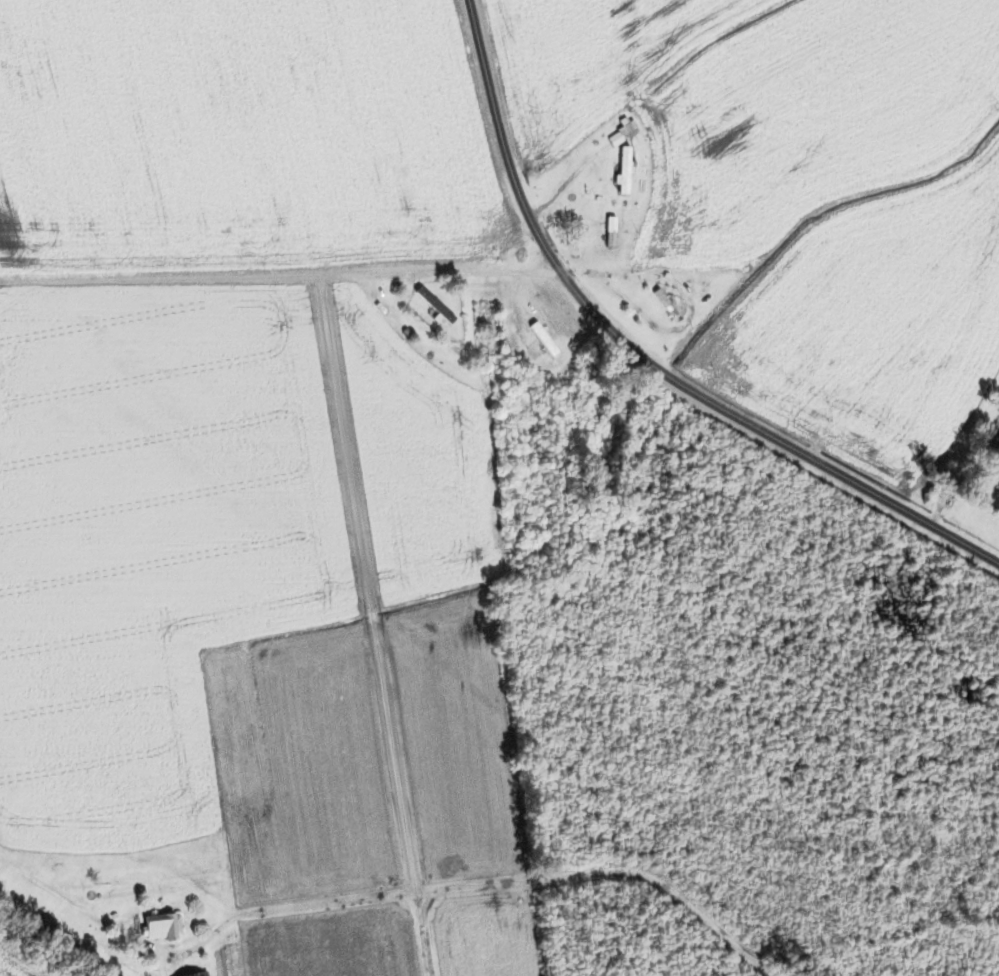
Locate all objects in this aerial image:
building: (627, 130)
building: (625, 170)
road: (563, 186)
building: (612, 232)
road: (481, 272)
building: (436, 305)
building: (669, 307)
road: (644, 357)
road: (491, 885)
building: (163, 927)
road: (422, 929)
building: (200, 974)

